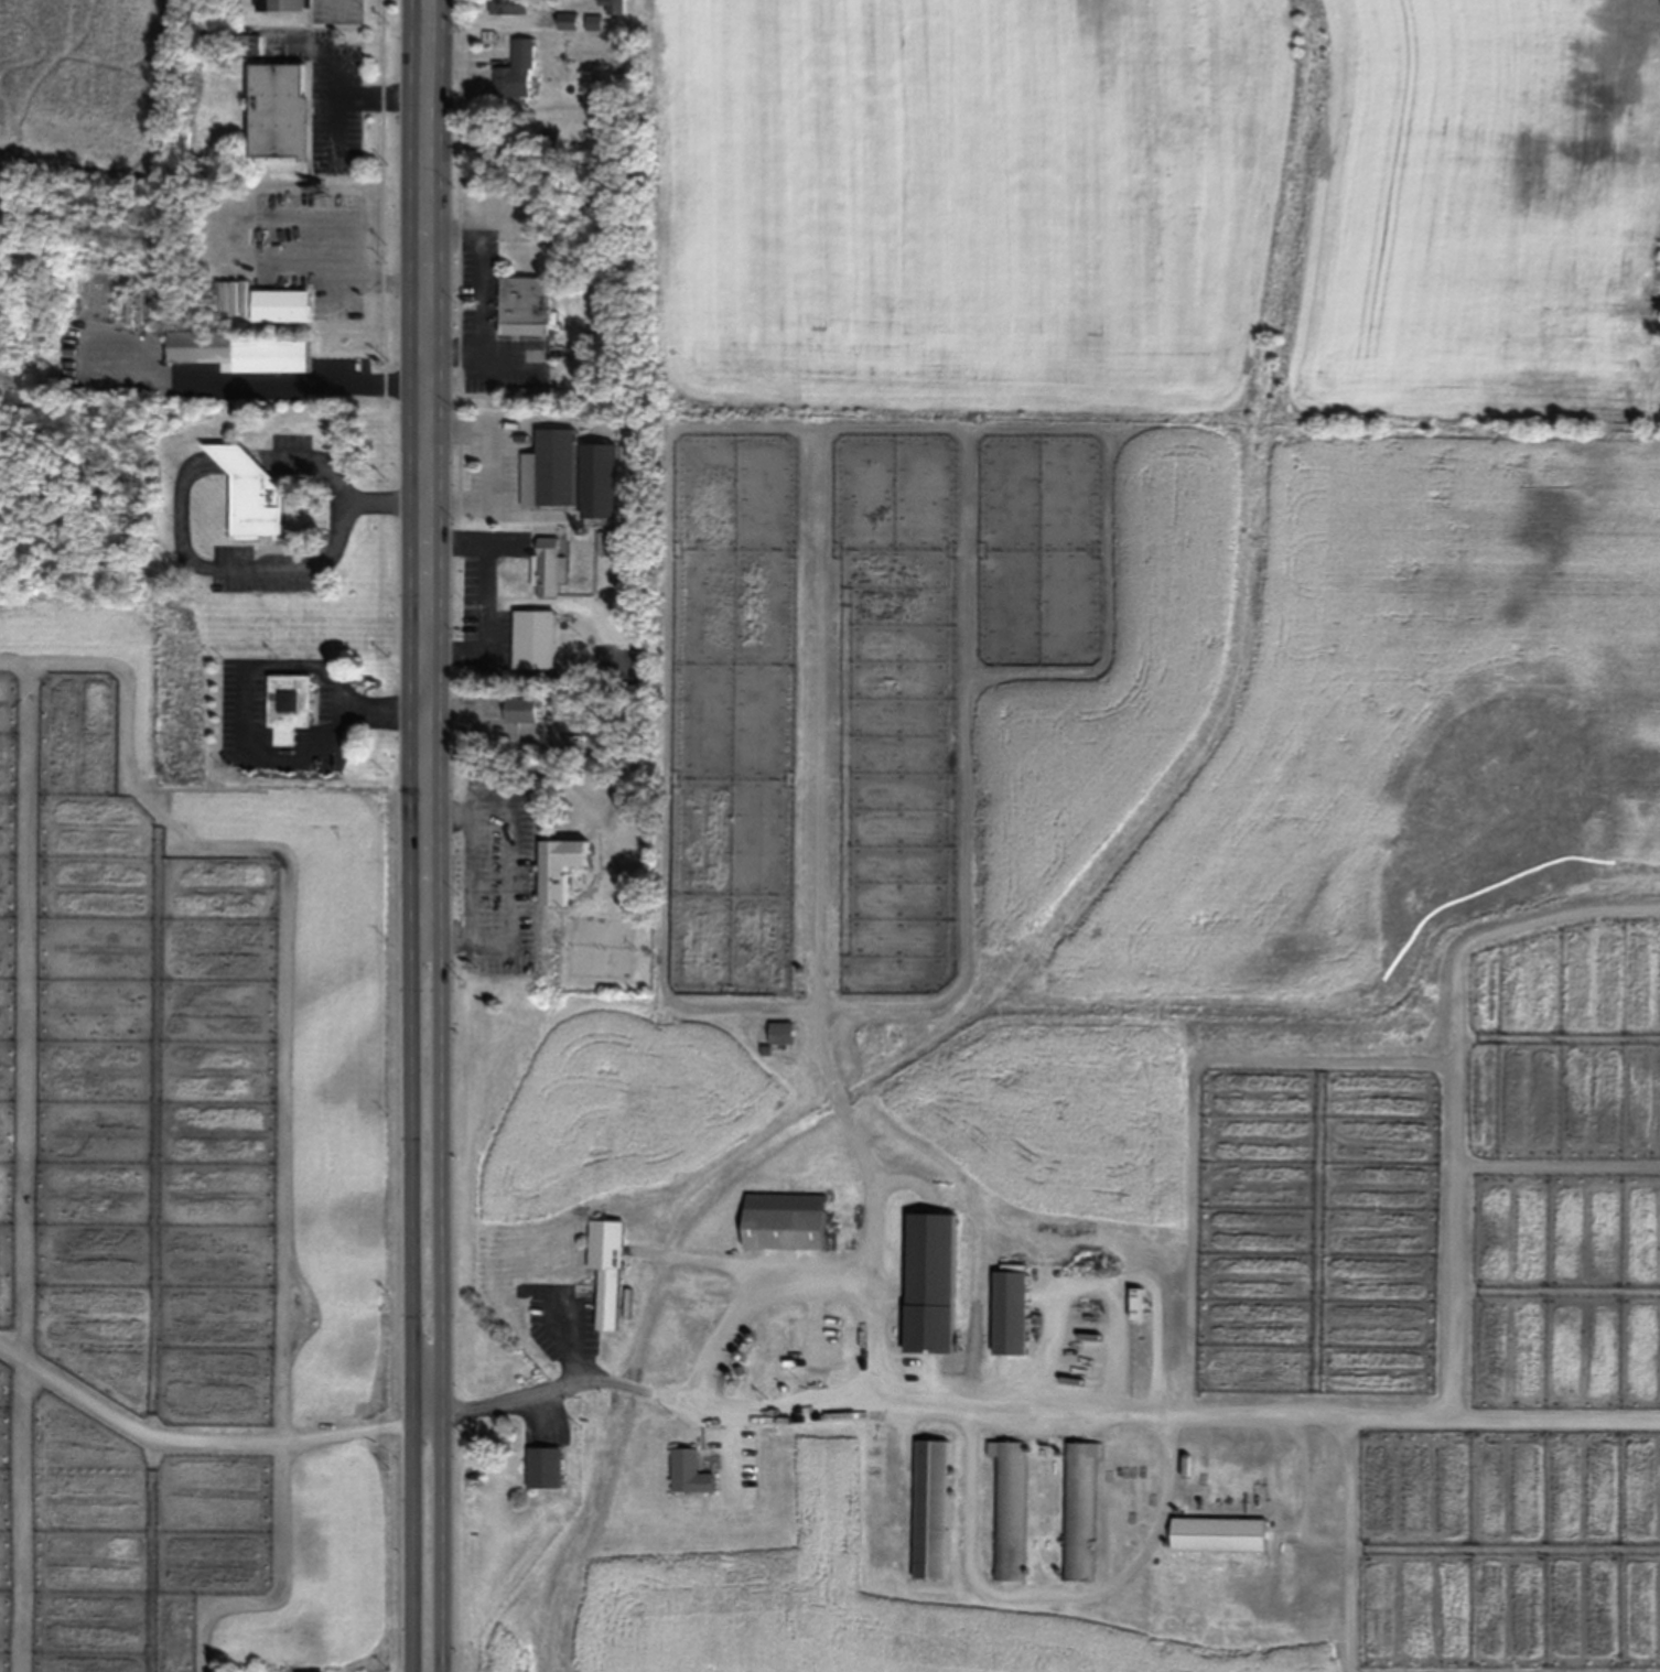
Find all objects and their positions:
building: (287, 6)
building: (508, 7)
building: (568, 20)
building: (516, 73)
crop: (88, 95)
building: (281, 110)
park: (1307, 159)
building: (527, 305)
building: (283, 306)
road: (421, 317)
building: (248, 354)
building: (538, 393)
road: (493, 464)
building: (551, 470)
building: (602, 482)
building: (252, 493)
building: (618, 538)
building: (551, 567)
building: (538, 639)
building: (291, 706)
building: (525, 711)
crop: (1153, 800)
building: (561, 867)
building: (783, 1032)
road: (411, 1153)
road: (443, 1153)
crop: (191, 1174)
building: (786, 1221)
building: (610, 1270)
building: (930, 1282)
building: (1136, 1305)
building: (1011, 1312)
road: (571, 1340)
road: (1050, 1411)
road: (428, 1412)
road: (193, 1437)
building: (547, 1468)
building: (692, 1470)
building: (933, 1509)
building: (1009, 1509)
building: (1079, 1509)
building: (1219, 1535)

